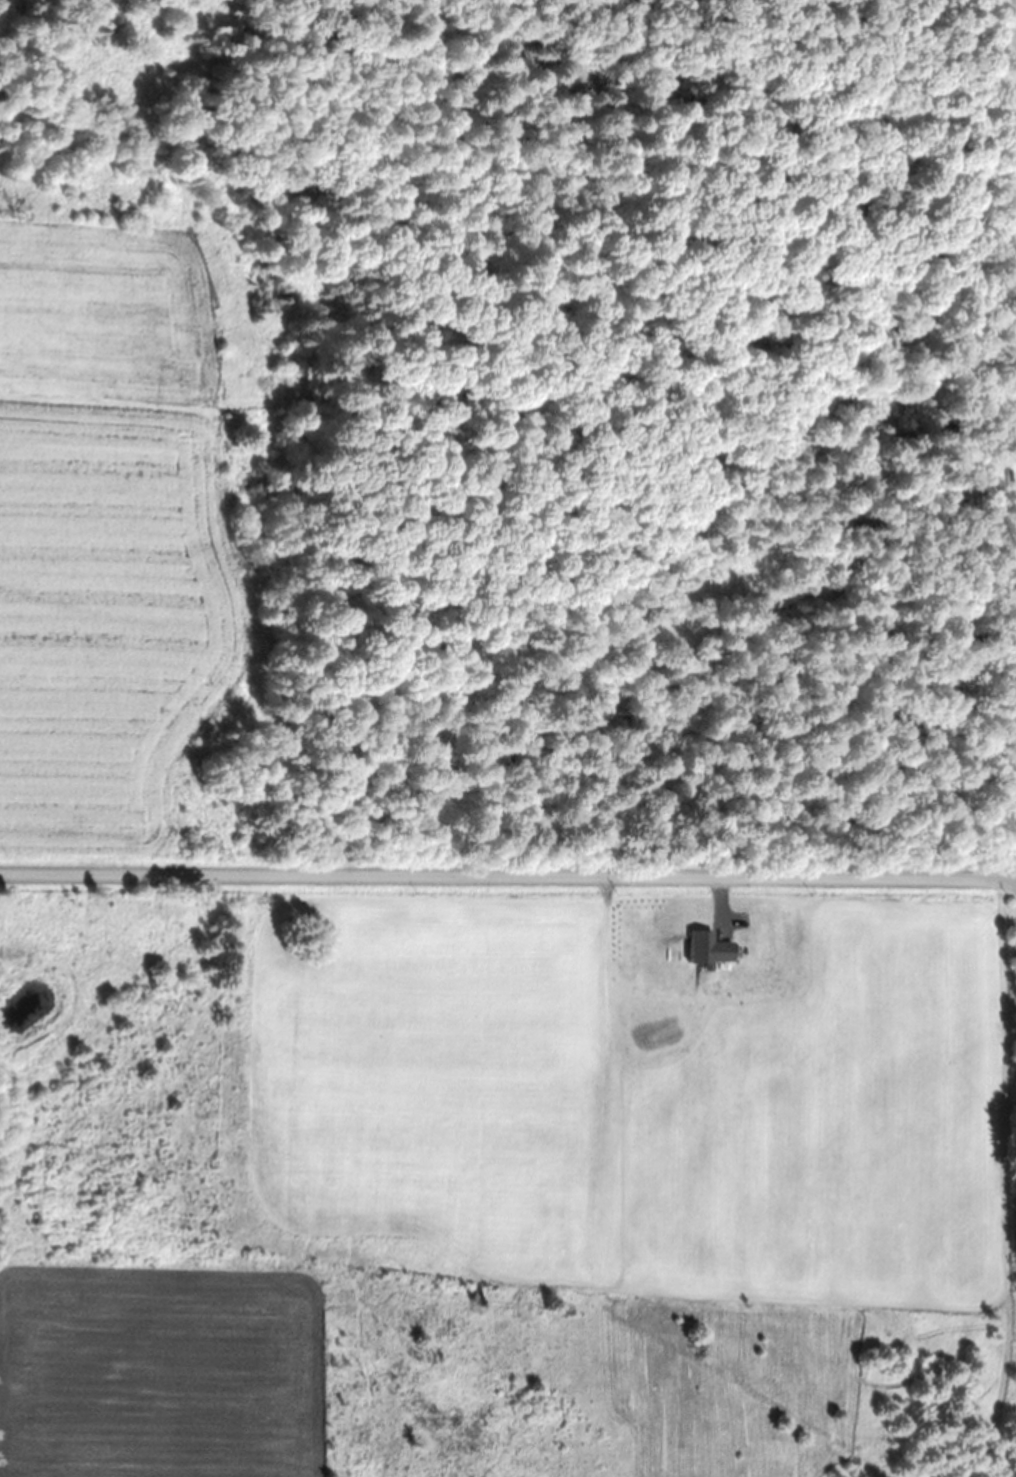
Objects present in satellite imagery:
road: (508, 872)

